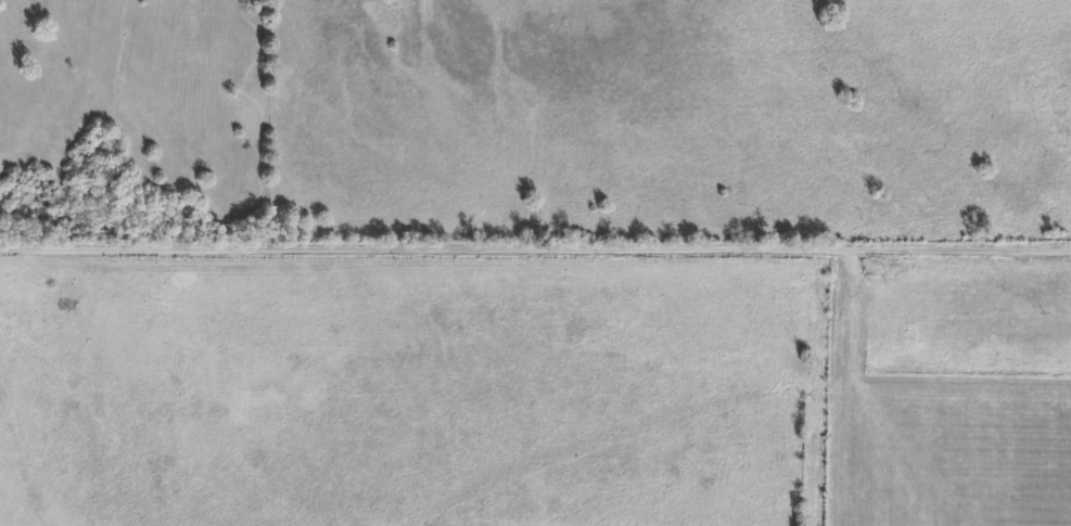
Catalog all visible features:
road: (535, 243)
road: (22, 464)

